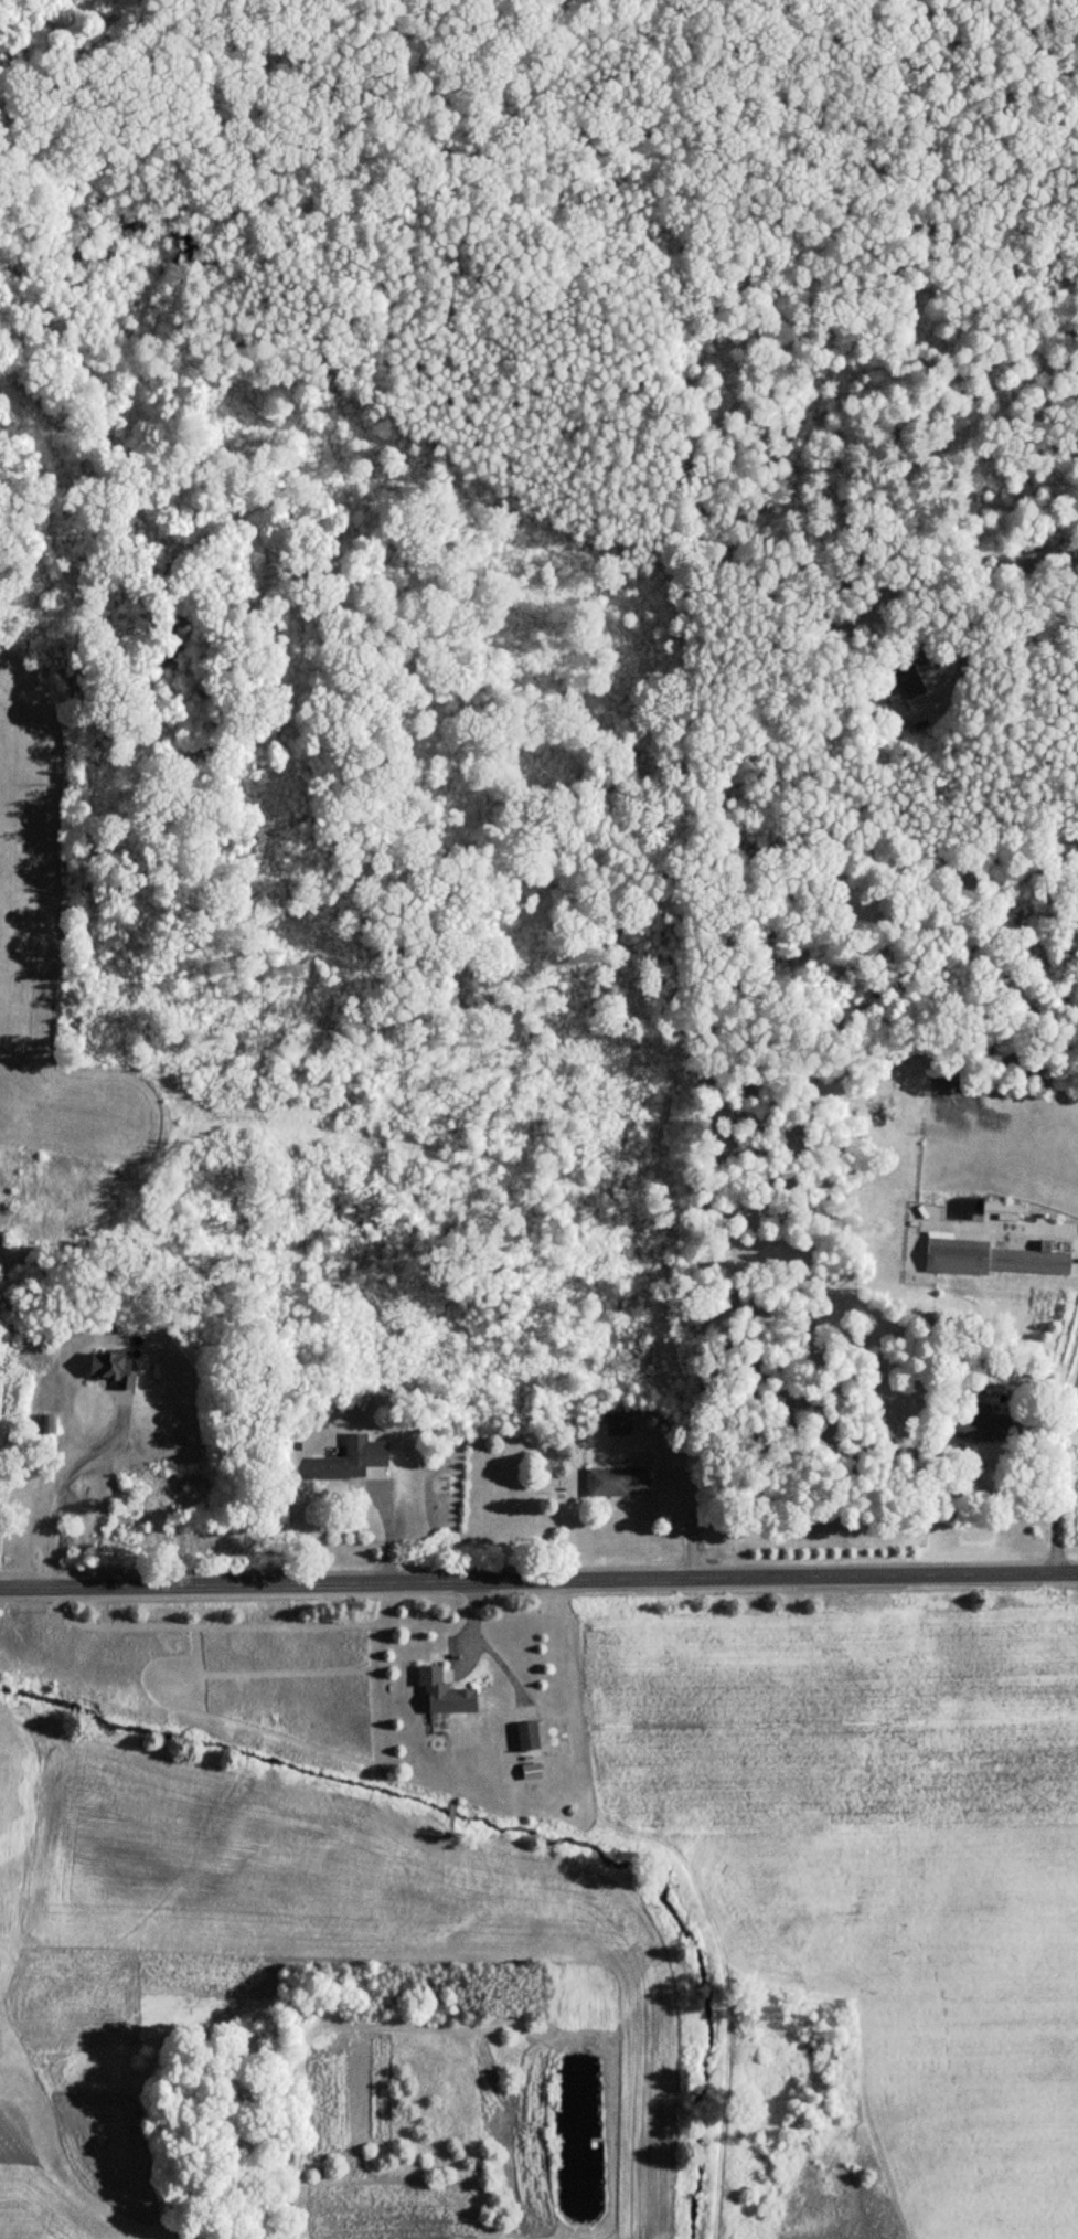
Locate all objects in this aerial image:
road: (965, 604)
building: (900, 678)
building: (993, 1259)
building: (115, 1371)
building: (49, 1425)
building: (985, 1425)
building: (353, 1460)
road: (1057, 1469)
road: (62, 1477)
building: (619, 1483)
road: (538, 1579)
road: (473, 1621)
road: (503, 1660)
building: (447, 1695)
building: (530, 1737)
building: (530, 1771)

